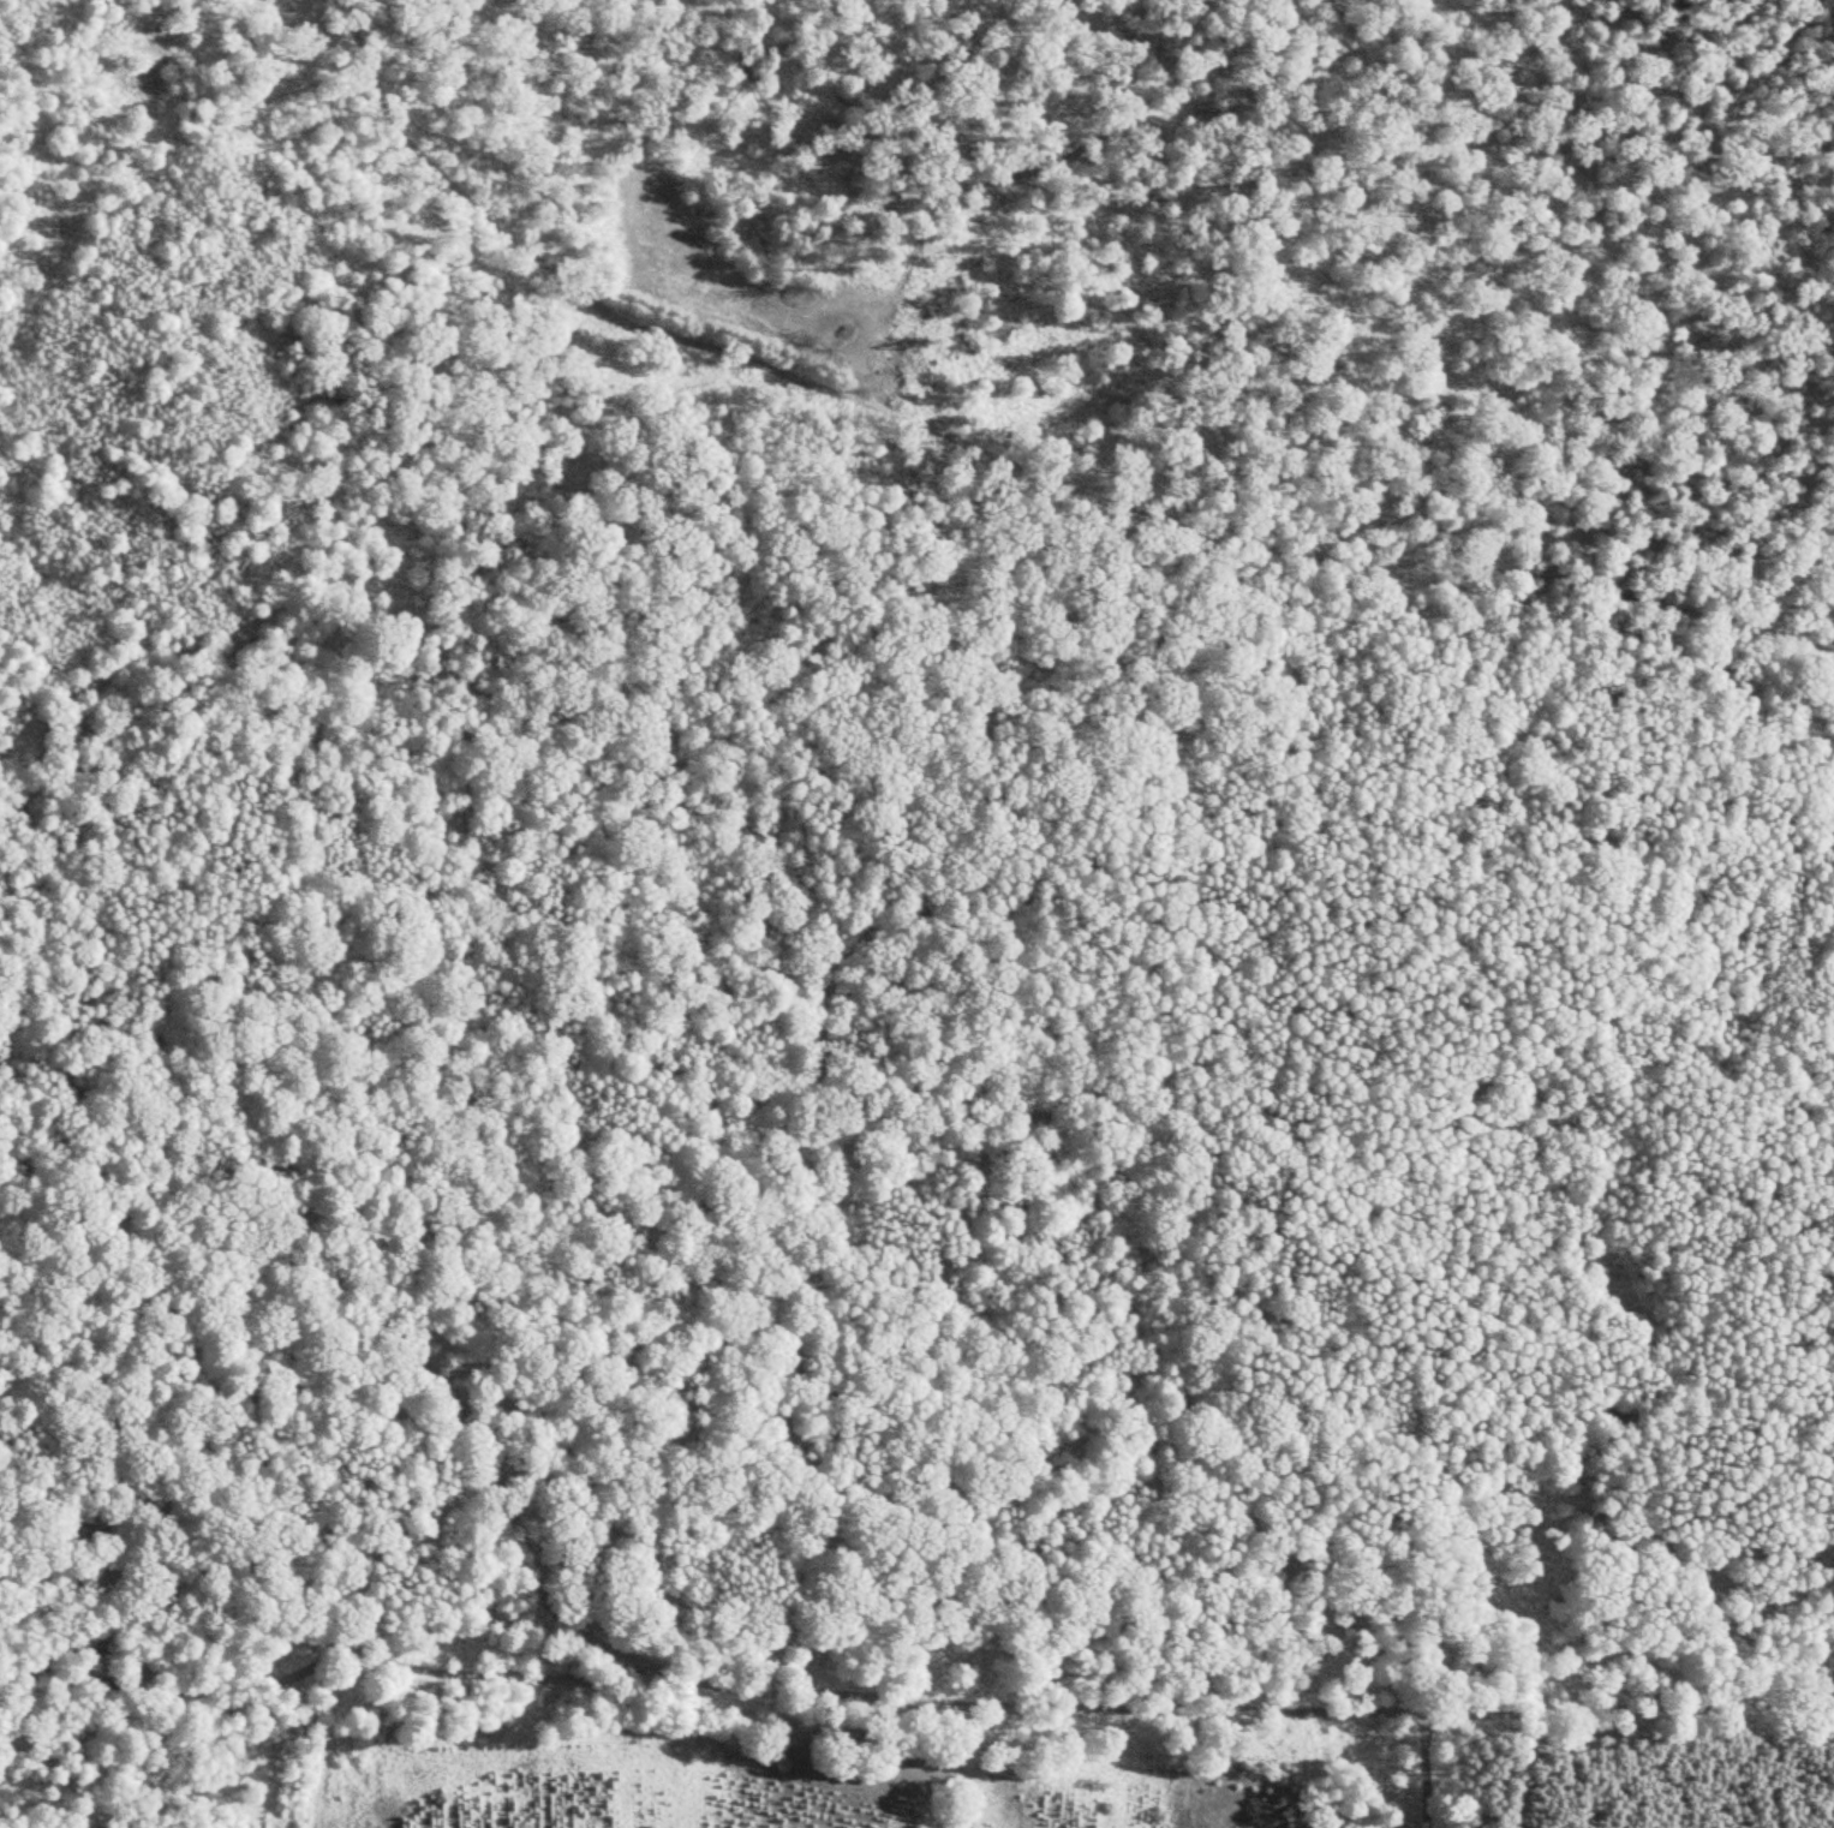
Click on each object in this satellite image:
road: (1010, 462)
road: (124, 1613)
road: (331, 1660)
road: (813, 1692)
road: (1426, 1769)

